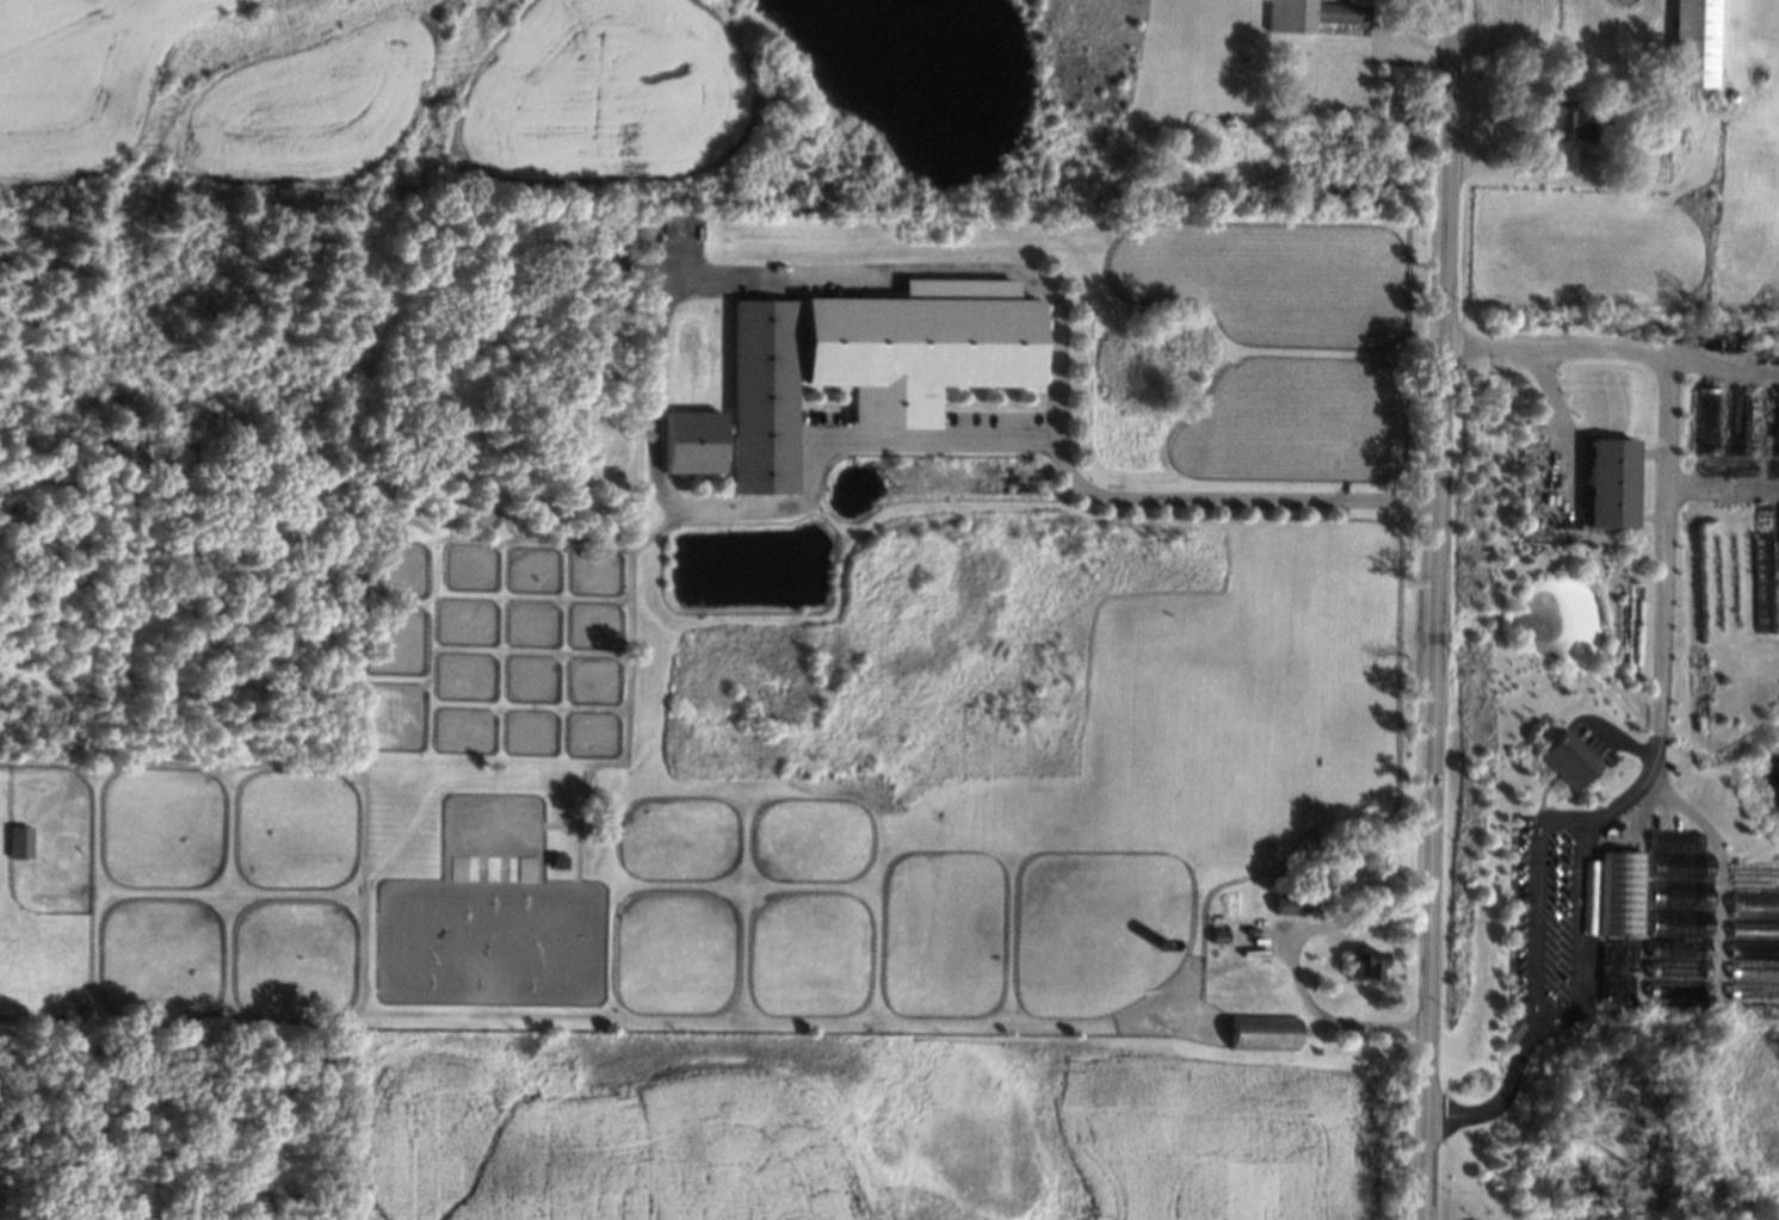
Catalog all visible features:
building: (1312, 14)
building: (1697, 43)
road: (1414, 51)
crop: (82, 78)
building: (1565, 120)
road: (1531, 172)
road: (813, 271)
building: (858, 367)
building: (1711, 421)
building: (1742, 422)
building: (1777, 428)
building: (1614, 484)
road: (1440, 609)
road: (1662, 699)
building: (1571, 761)
crop: (52, 838)
building: (1678, 842)
building: (21, 843)
building: (1682, 866)
building: (1753, 875)
building: (1622, 894)
building: (1682, 896)
building: (1736, 900)
building: (1753, 902)
building: (1293, 906)
building: (1681, 925)
crop: (38, 943)
building: (1680, 949)
building: (1624, 952)
building: (1364, 965)
road: (1297, 968)
building: (1754, 971)
building: (1624, 989)
building: (1679, 989)
building: (1754, 991)
building: (1266, 1033)
crop: (869, 1137)
crop: (1481, 1191)

